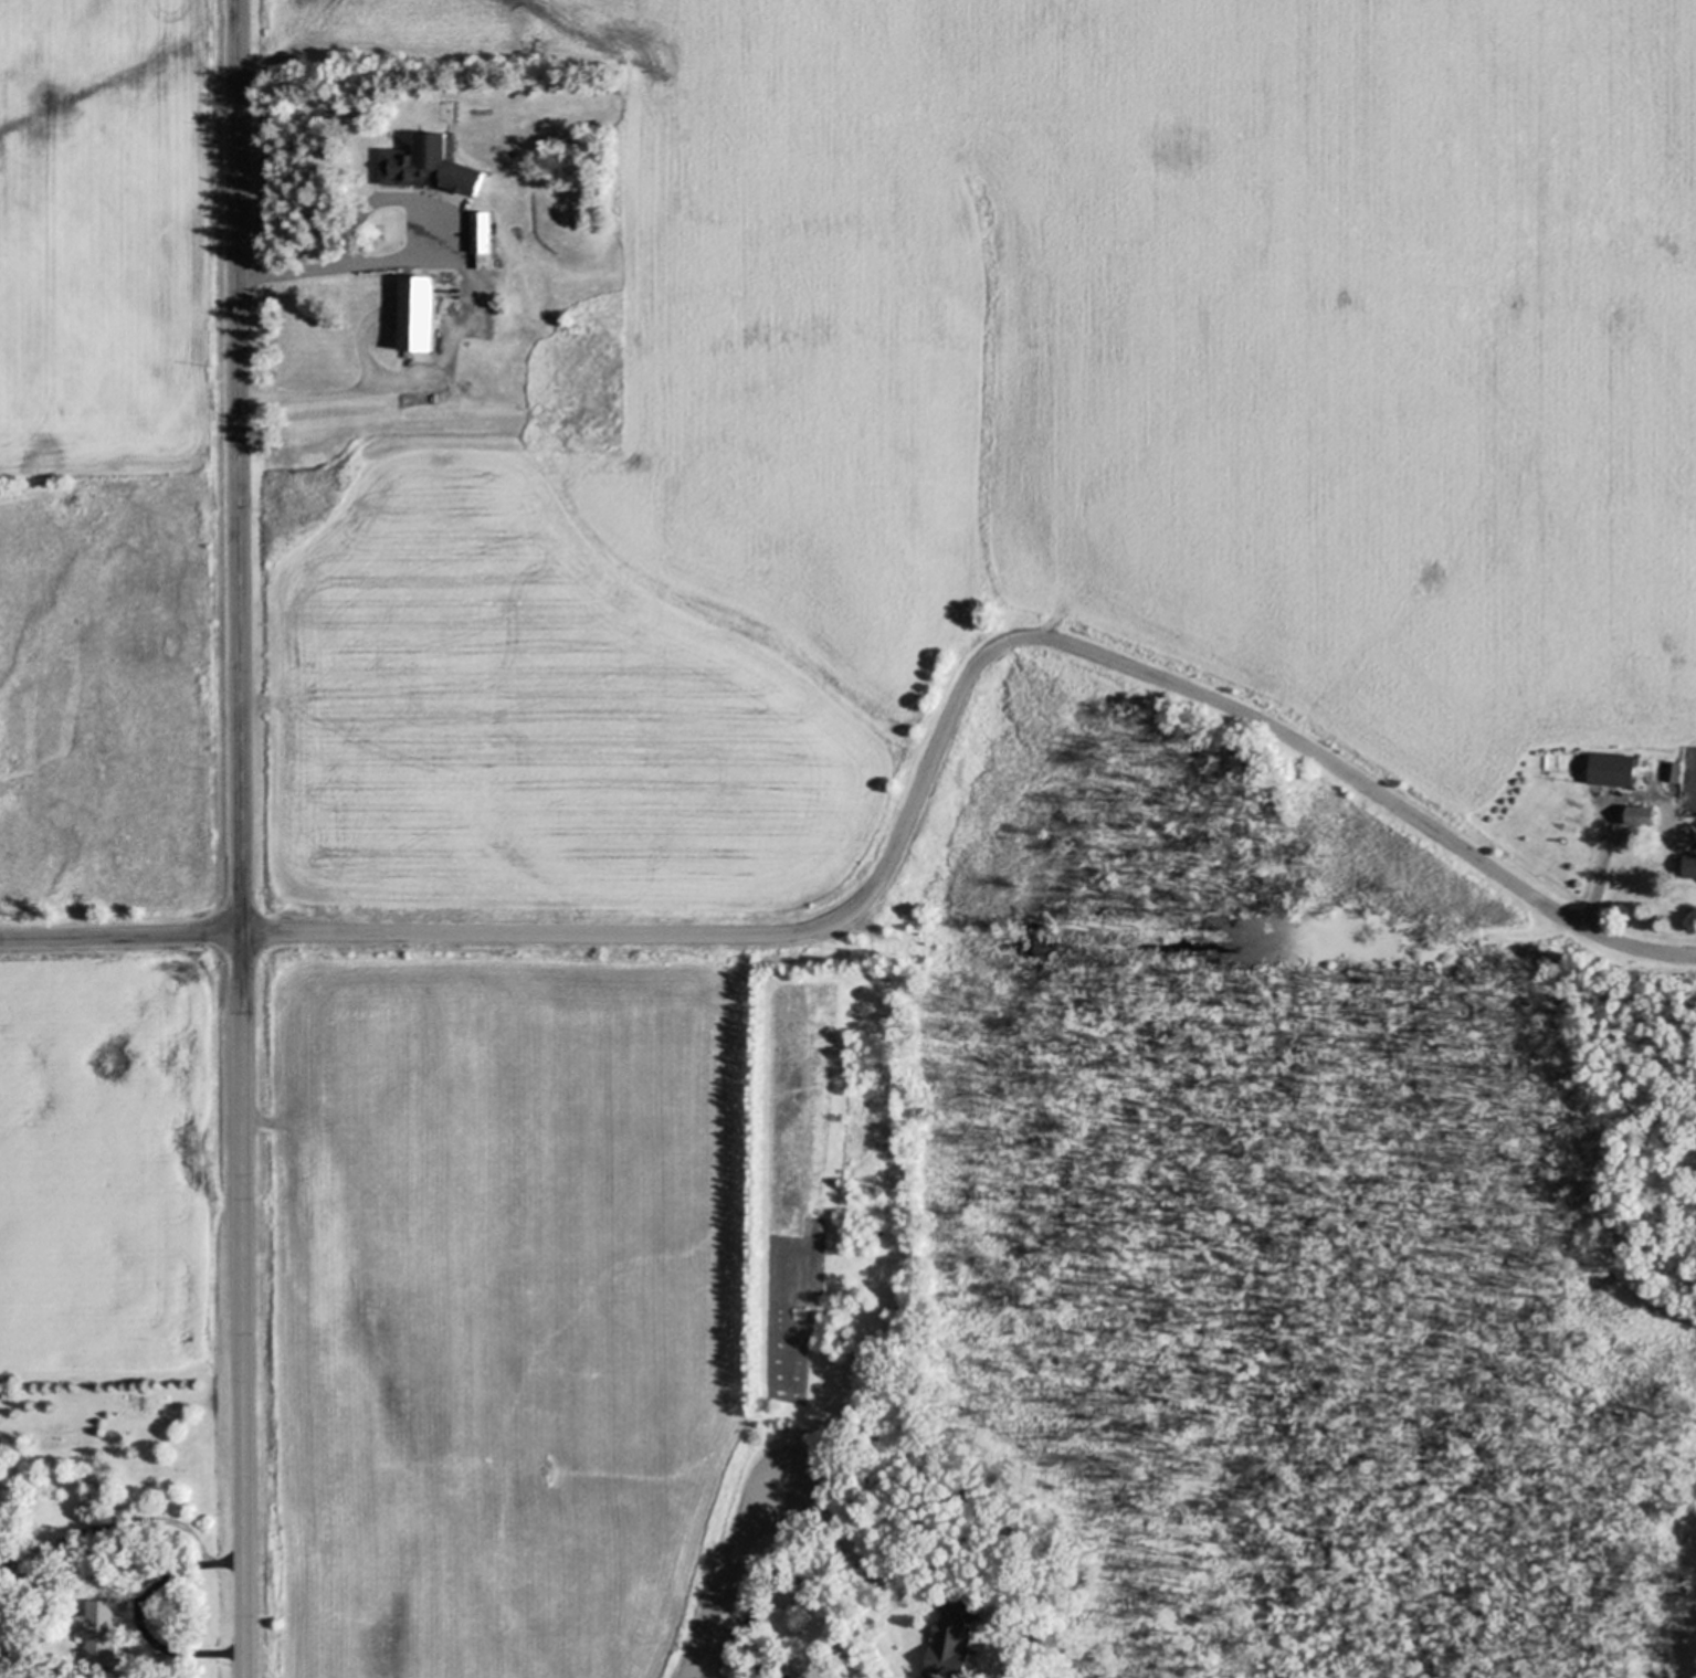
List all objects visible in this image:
building: (426, 168)
building: (481, 241)
road: (409, 254)
building: (414, 316)
road: (424, 380)
road: (954, 699)
building: (1610, 771)
building: (1671, 773)
building: (1637, 817)
road: (240, 838)
building: (1689, 868)
road: (1599, 870)
road: (120, 937)
road: (865, 1548)
building: (45, 1564)
road: (729, 1572)
road: (141, 1614)
building: (97, 1633)
road: (752, 1638)
building: (948, 1645)

